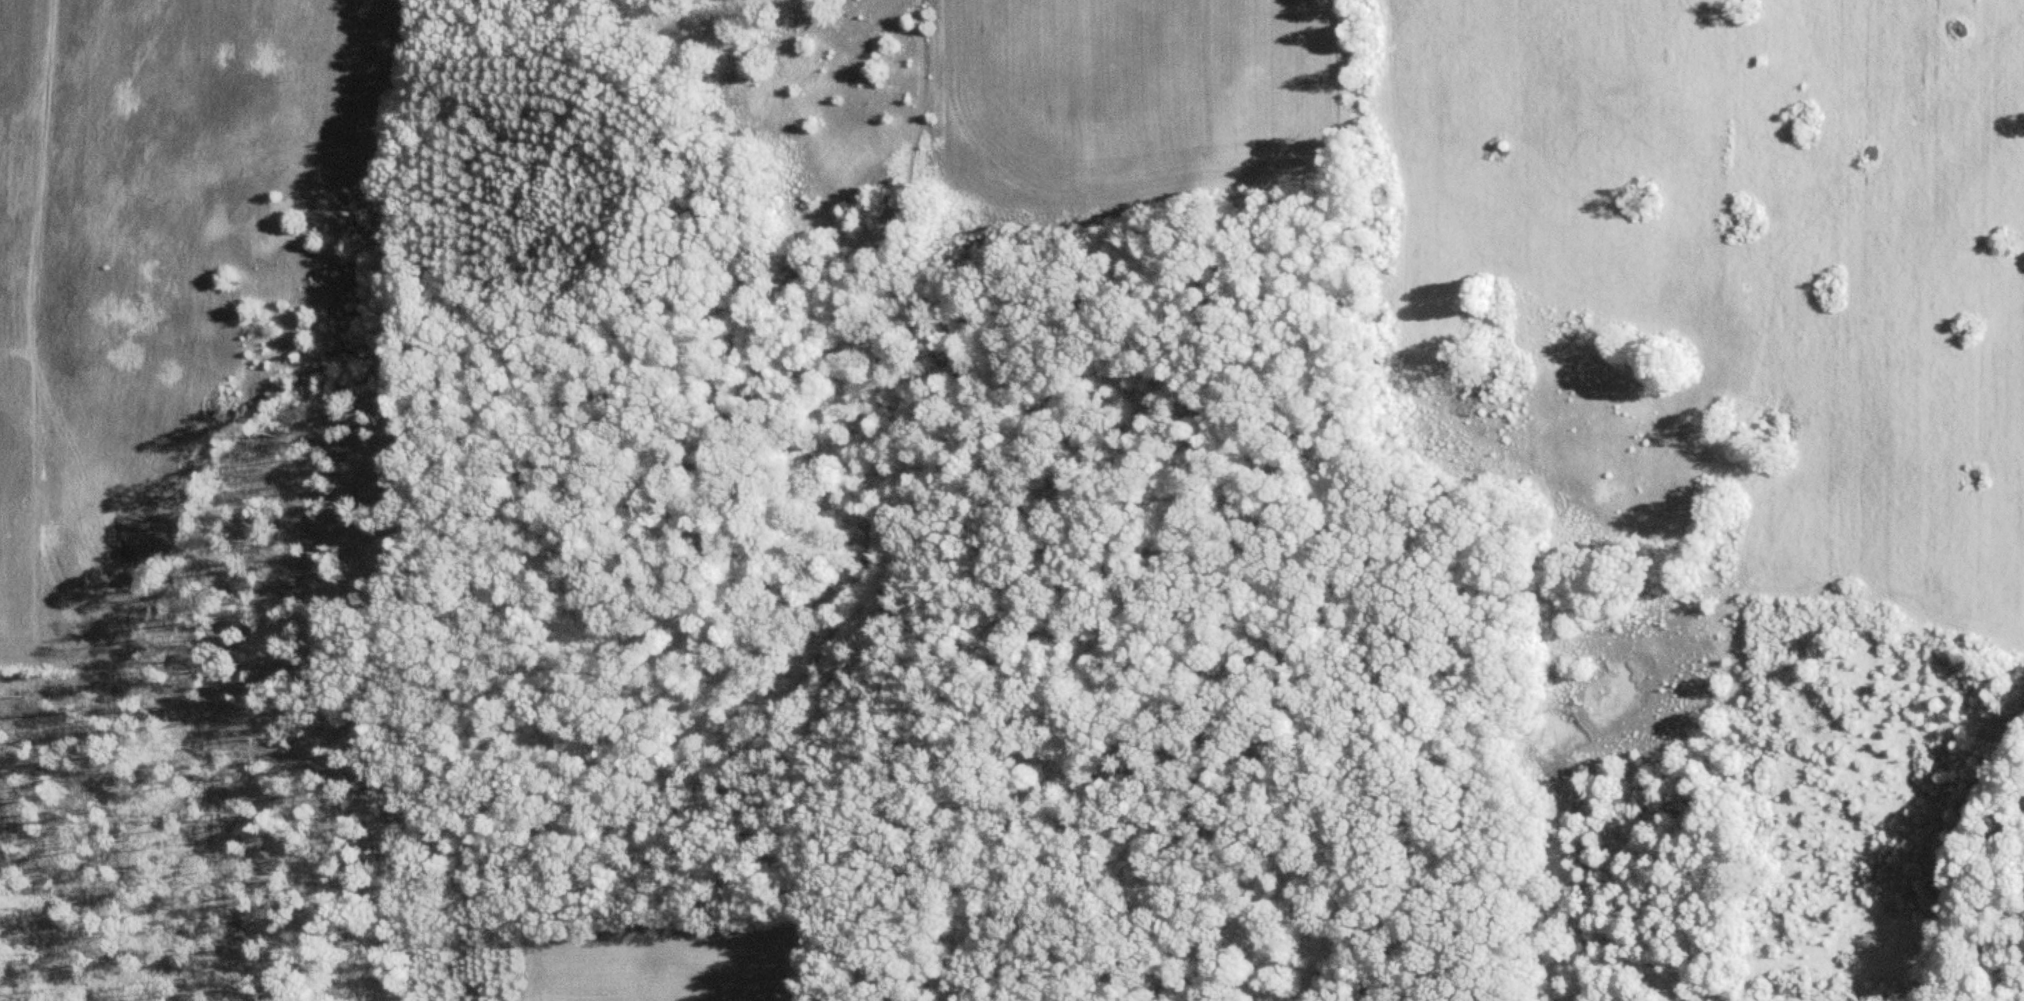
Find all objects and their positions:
crop: (1764, 245)

